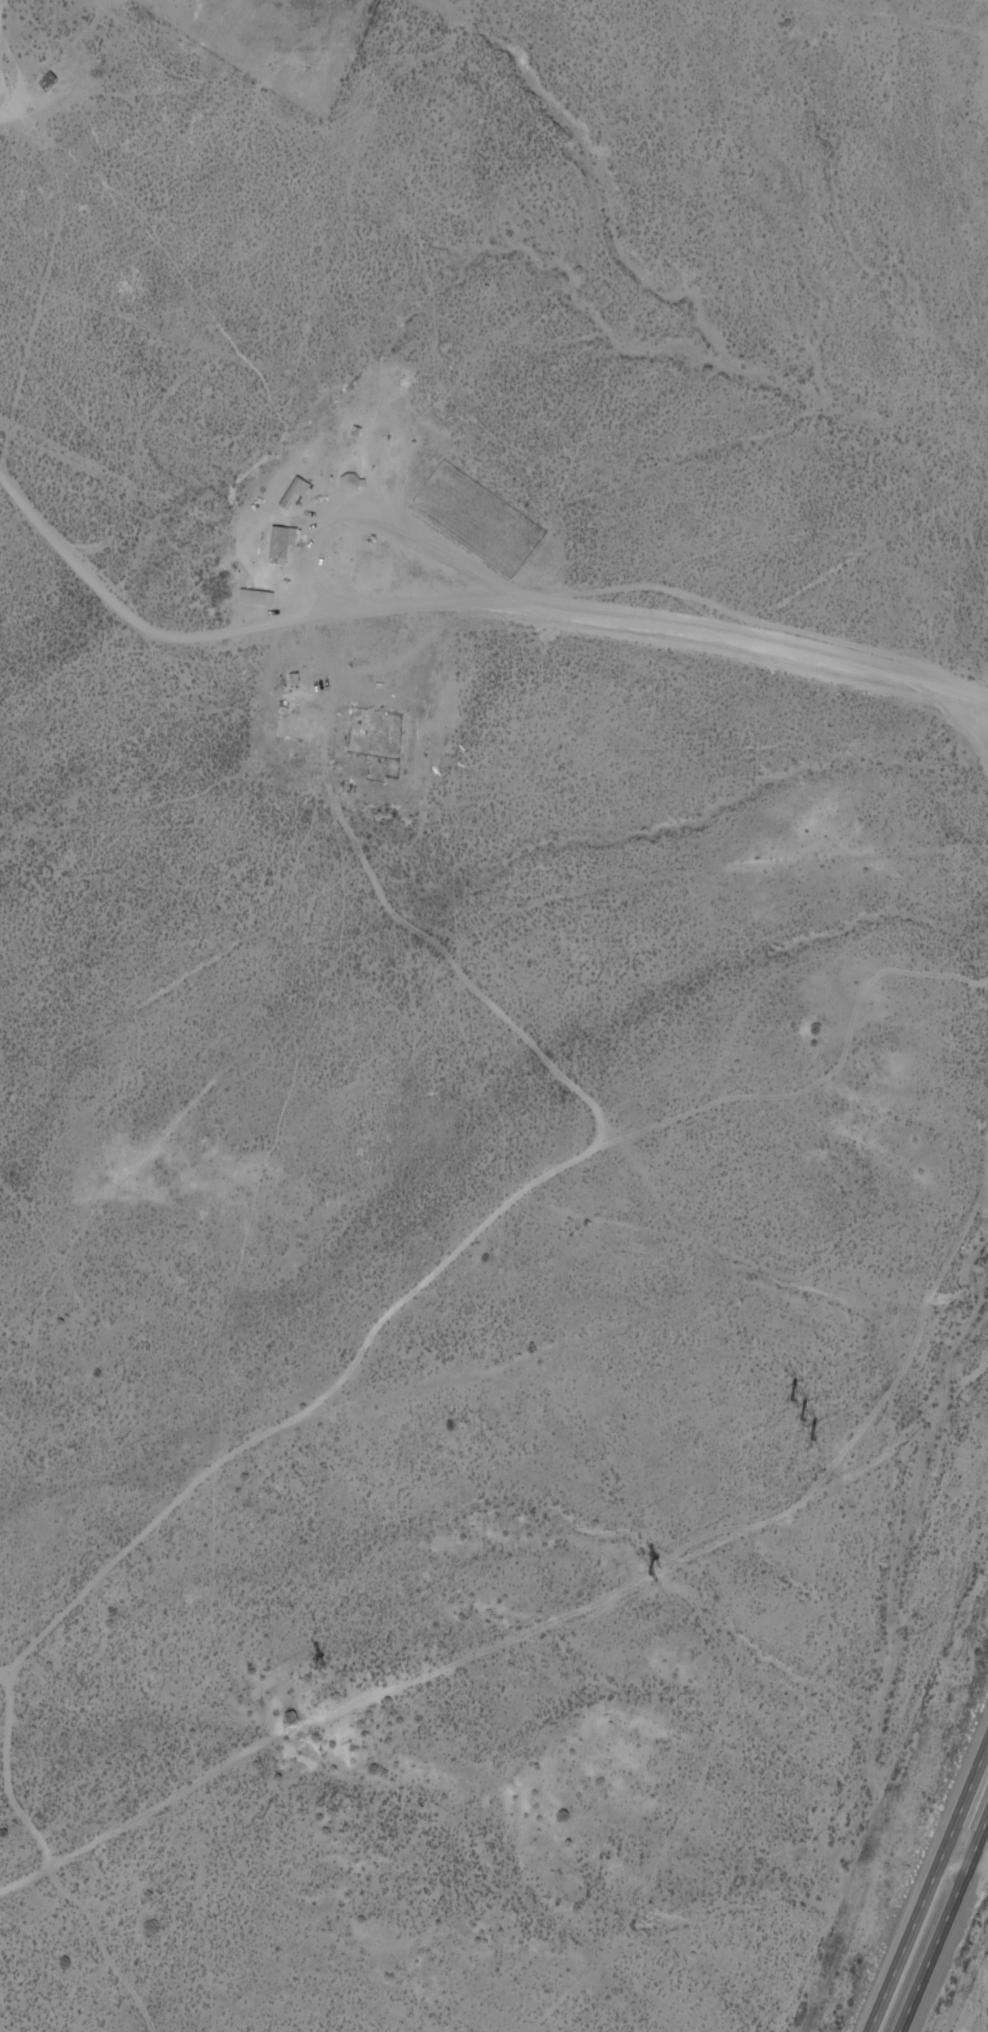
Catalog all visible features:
road: (864, 39)
building: (352, 482)
building: (296, 492)
building: (280, 546)
road: (463, 601)
power tower: (809, 1412)
power tower: (649, 1572)
road: (516, 1643)
power tower: (320, 1663)
road: (964, 1863)
road: (927, 1889)
road: (943, 1925)
road: (976, 2016)

